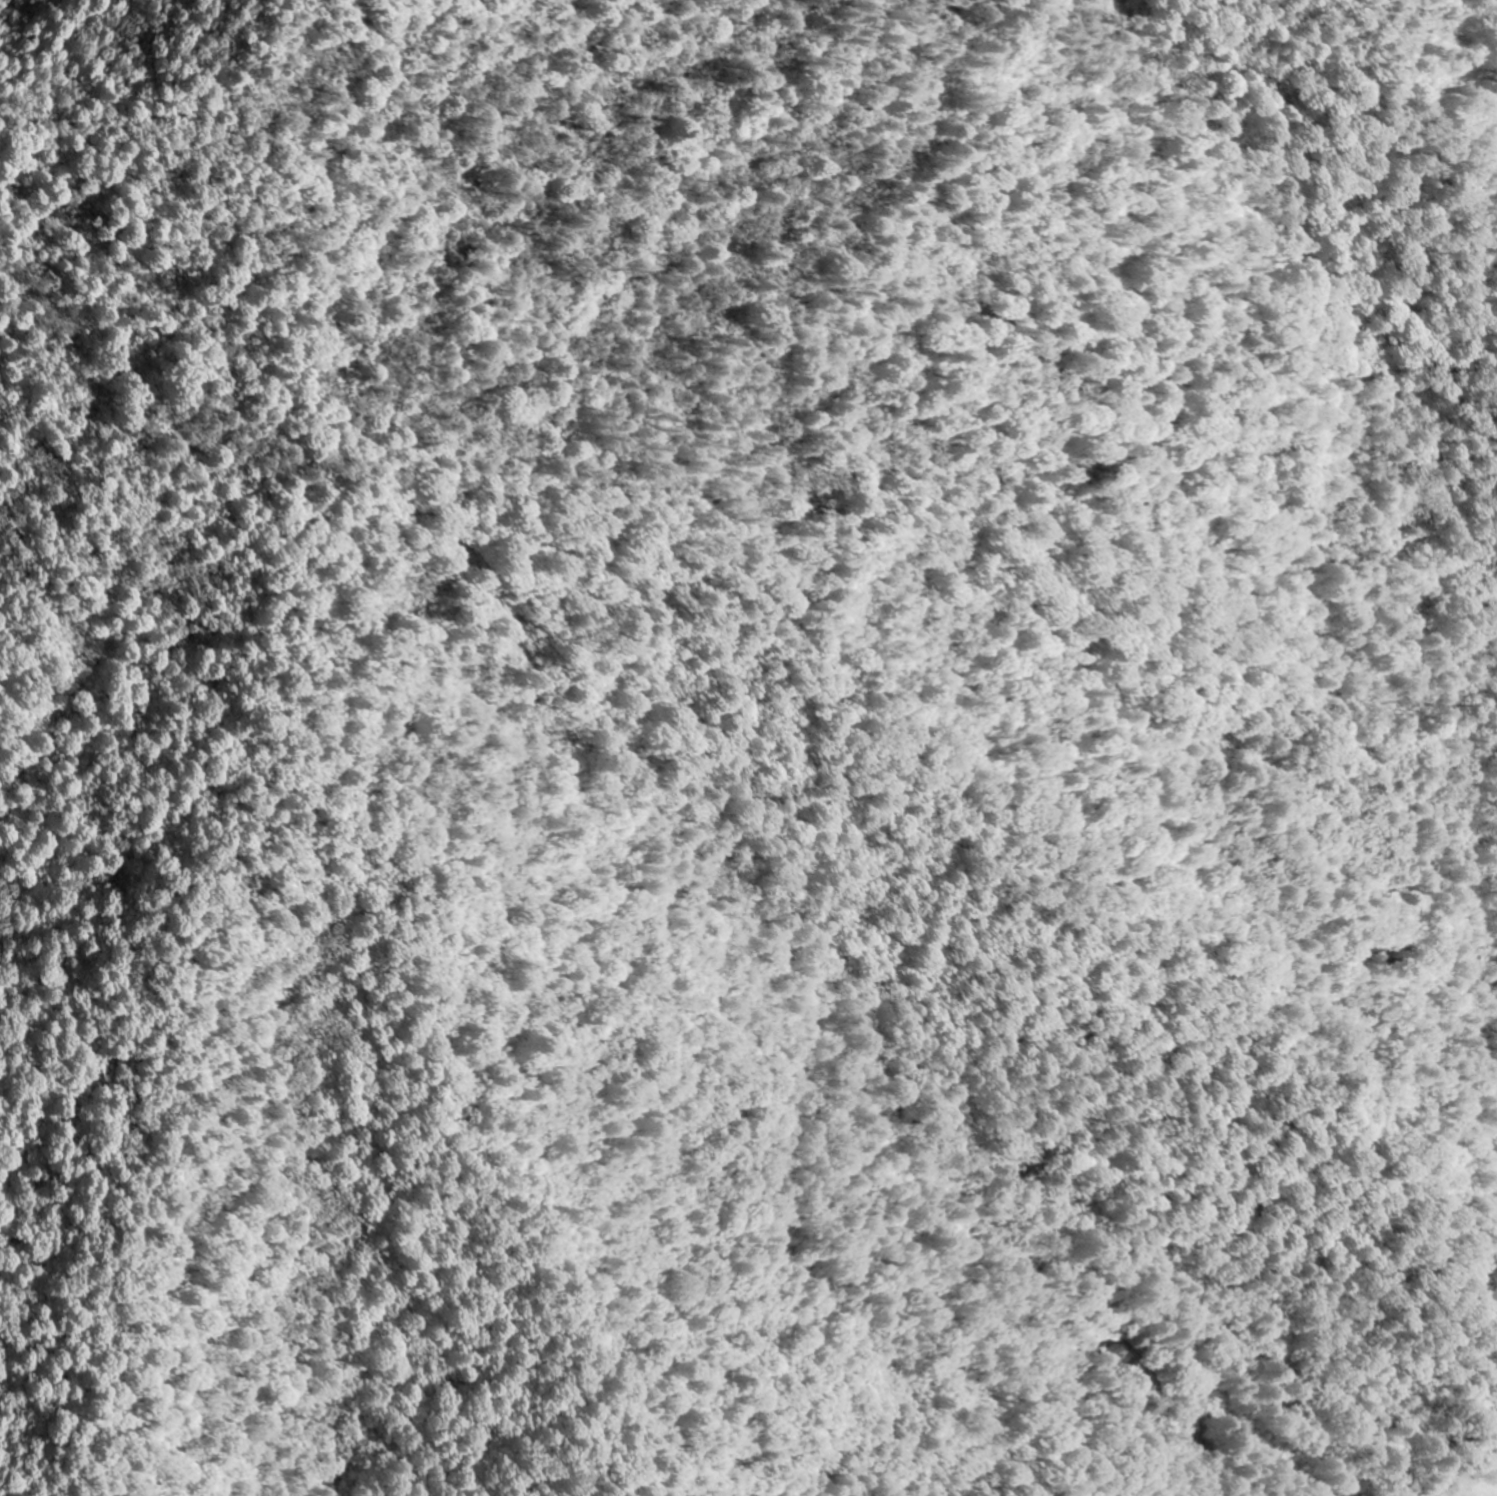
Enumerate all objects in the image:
road: (1254, 1349)
building: (1111, 1355)
park: (1431, 1478)

